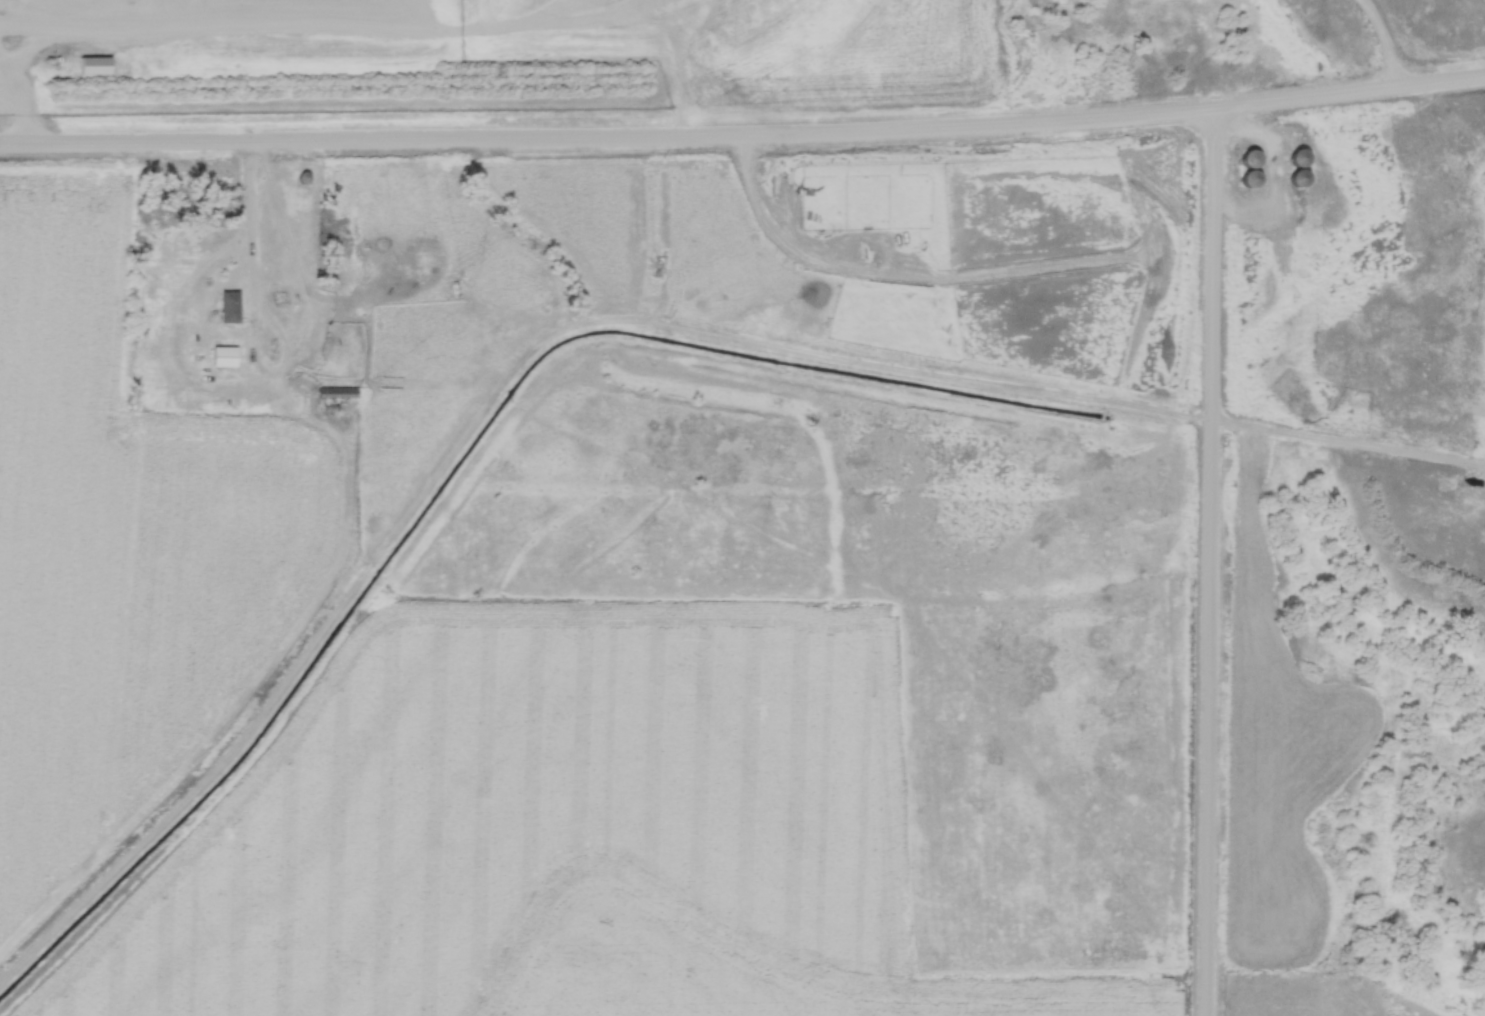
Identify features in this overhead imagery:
road: (1386, 39)
road: (24, 107)
road: (744, 144)
building: (1253, 167)
building: (1303, 168)
building: (305, 177)
road: (255, 254)
building: (279, 297)
building: (231, 307)
building: (225, 358)
building: (338, 391)
road: (1210, 565)

